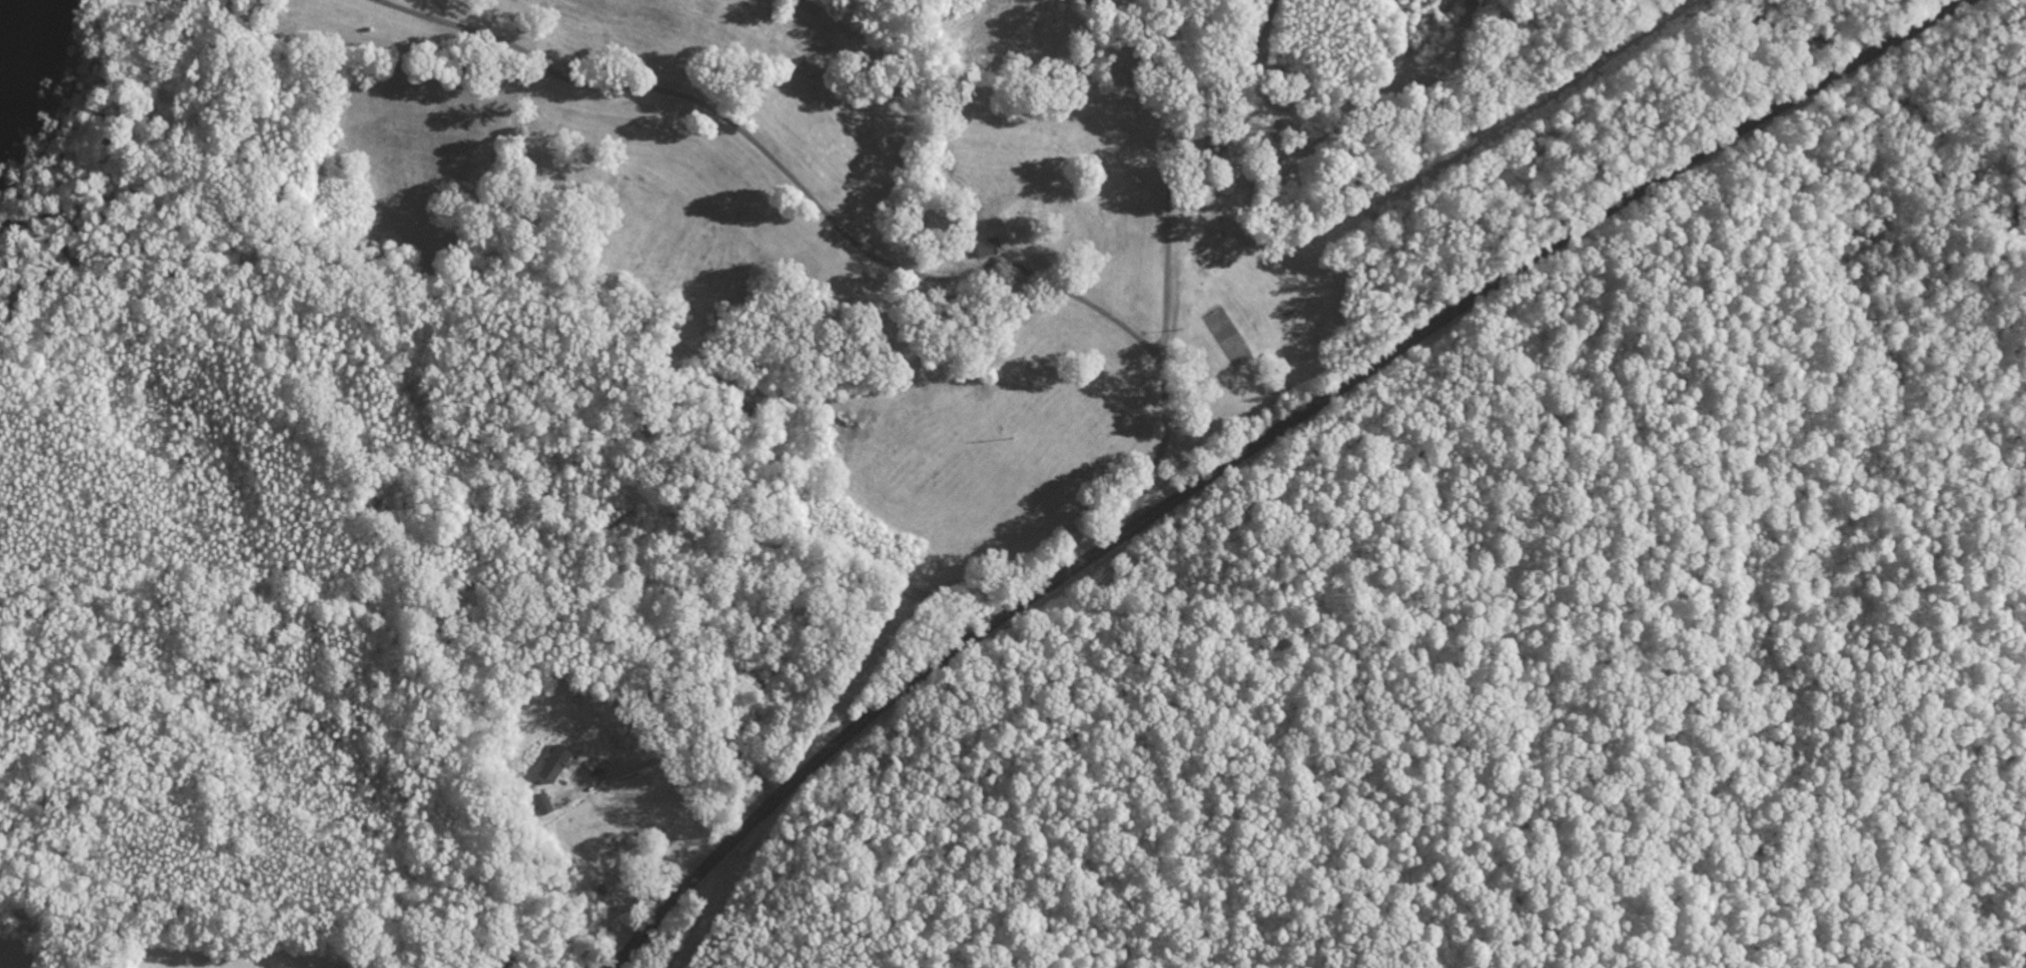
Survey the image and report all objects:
road: (459, 114)
road: (918, 220)
building: (990, 249)
road: (1263, 442)
building: (557, 766)
building: (545, 806)
road: (469, 813)

